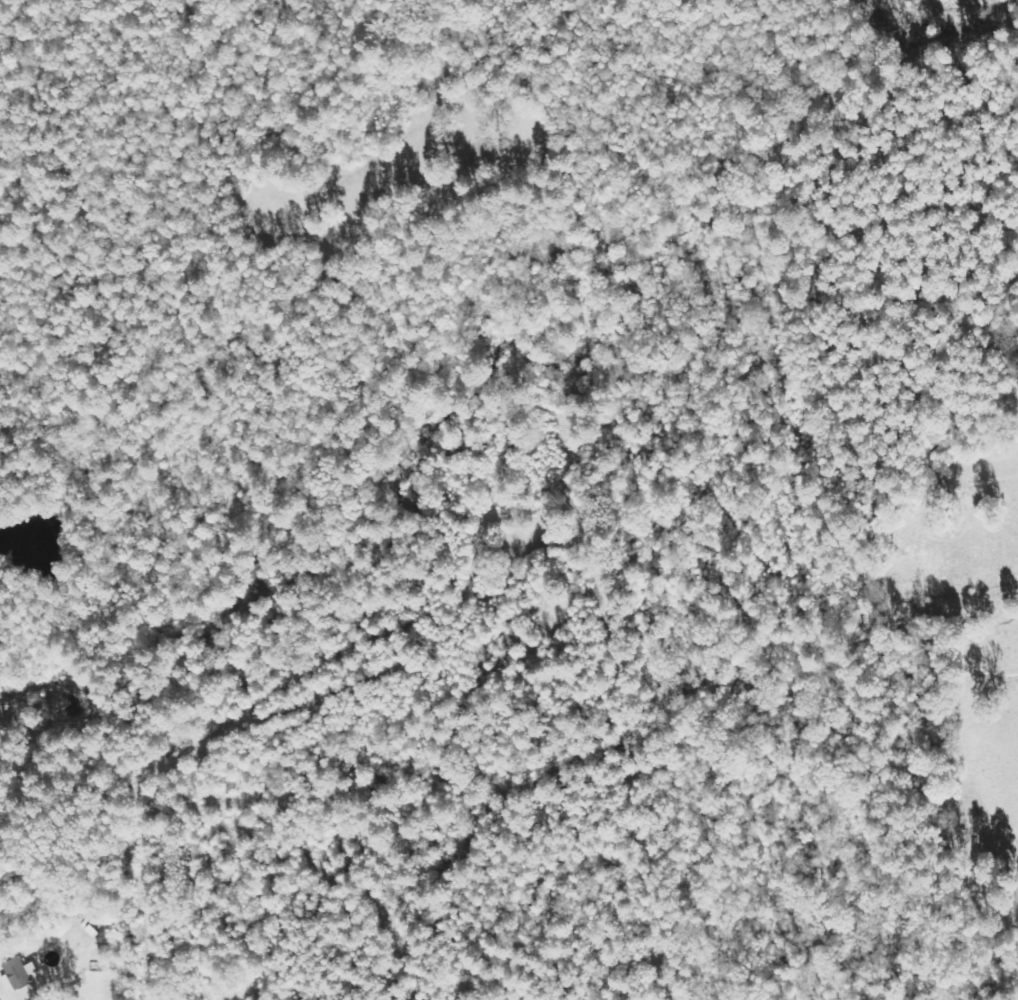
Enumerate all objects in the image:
building: (22, 979)

